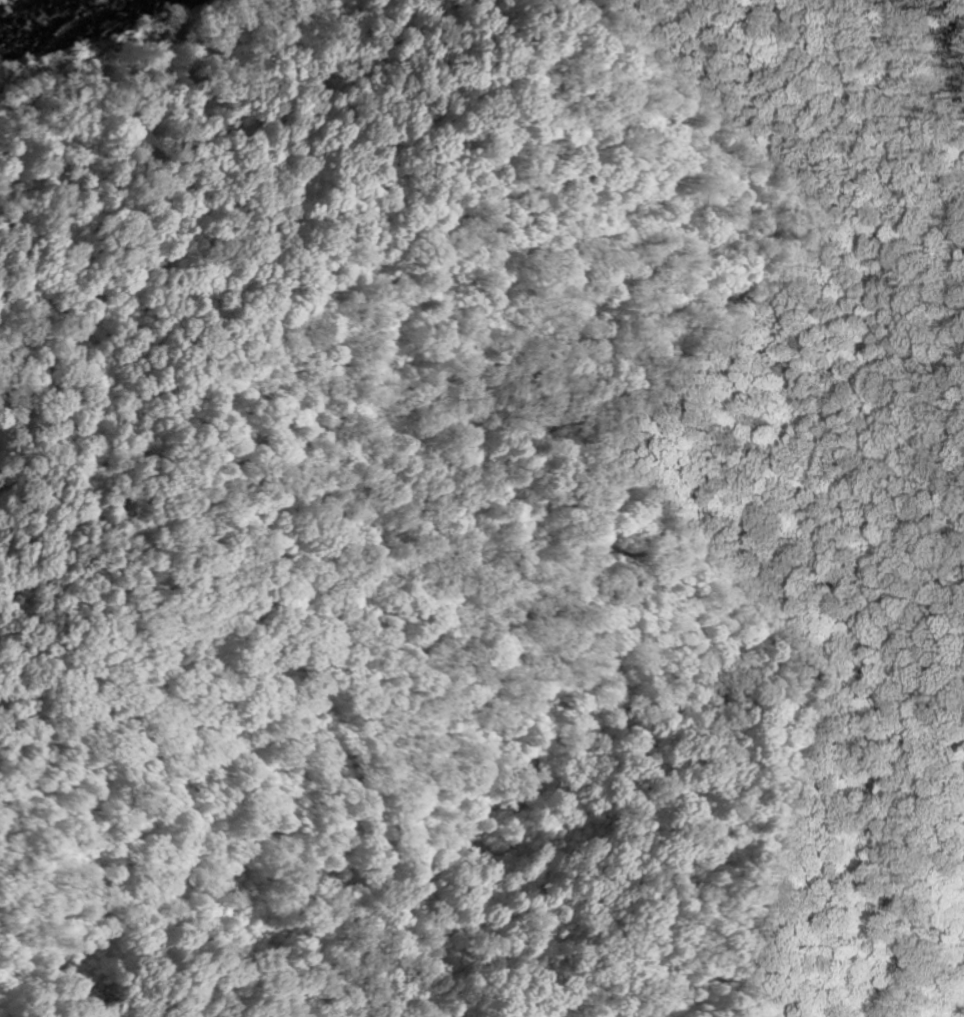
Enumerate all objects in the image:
river: (46, 14)

